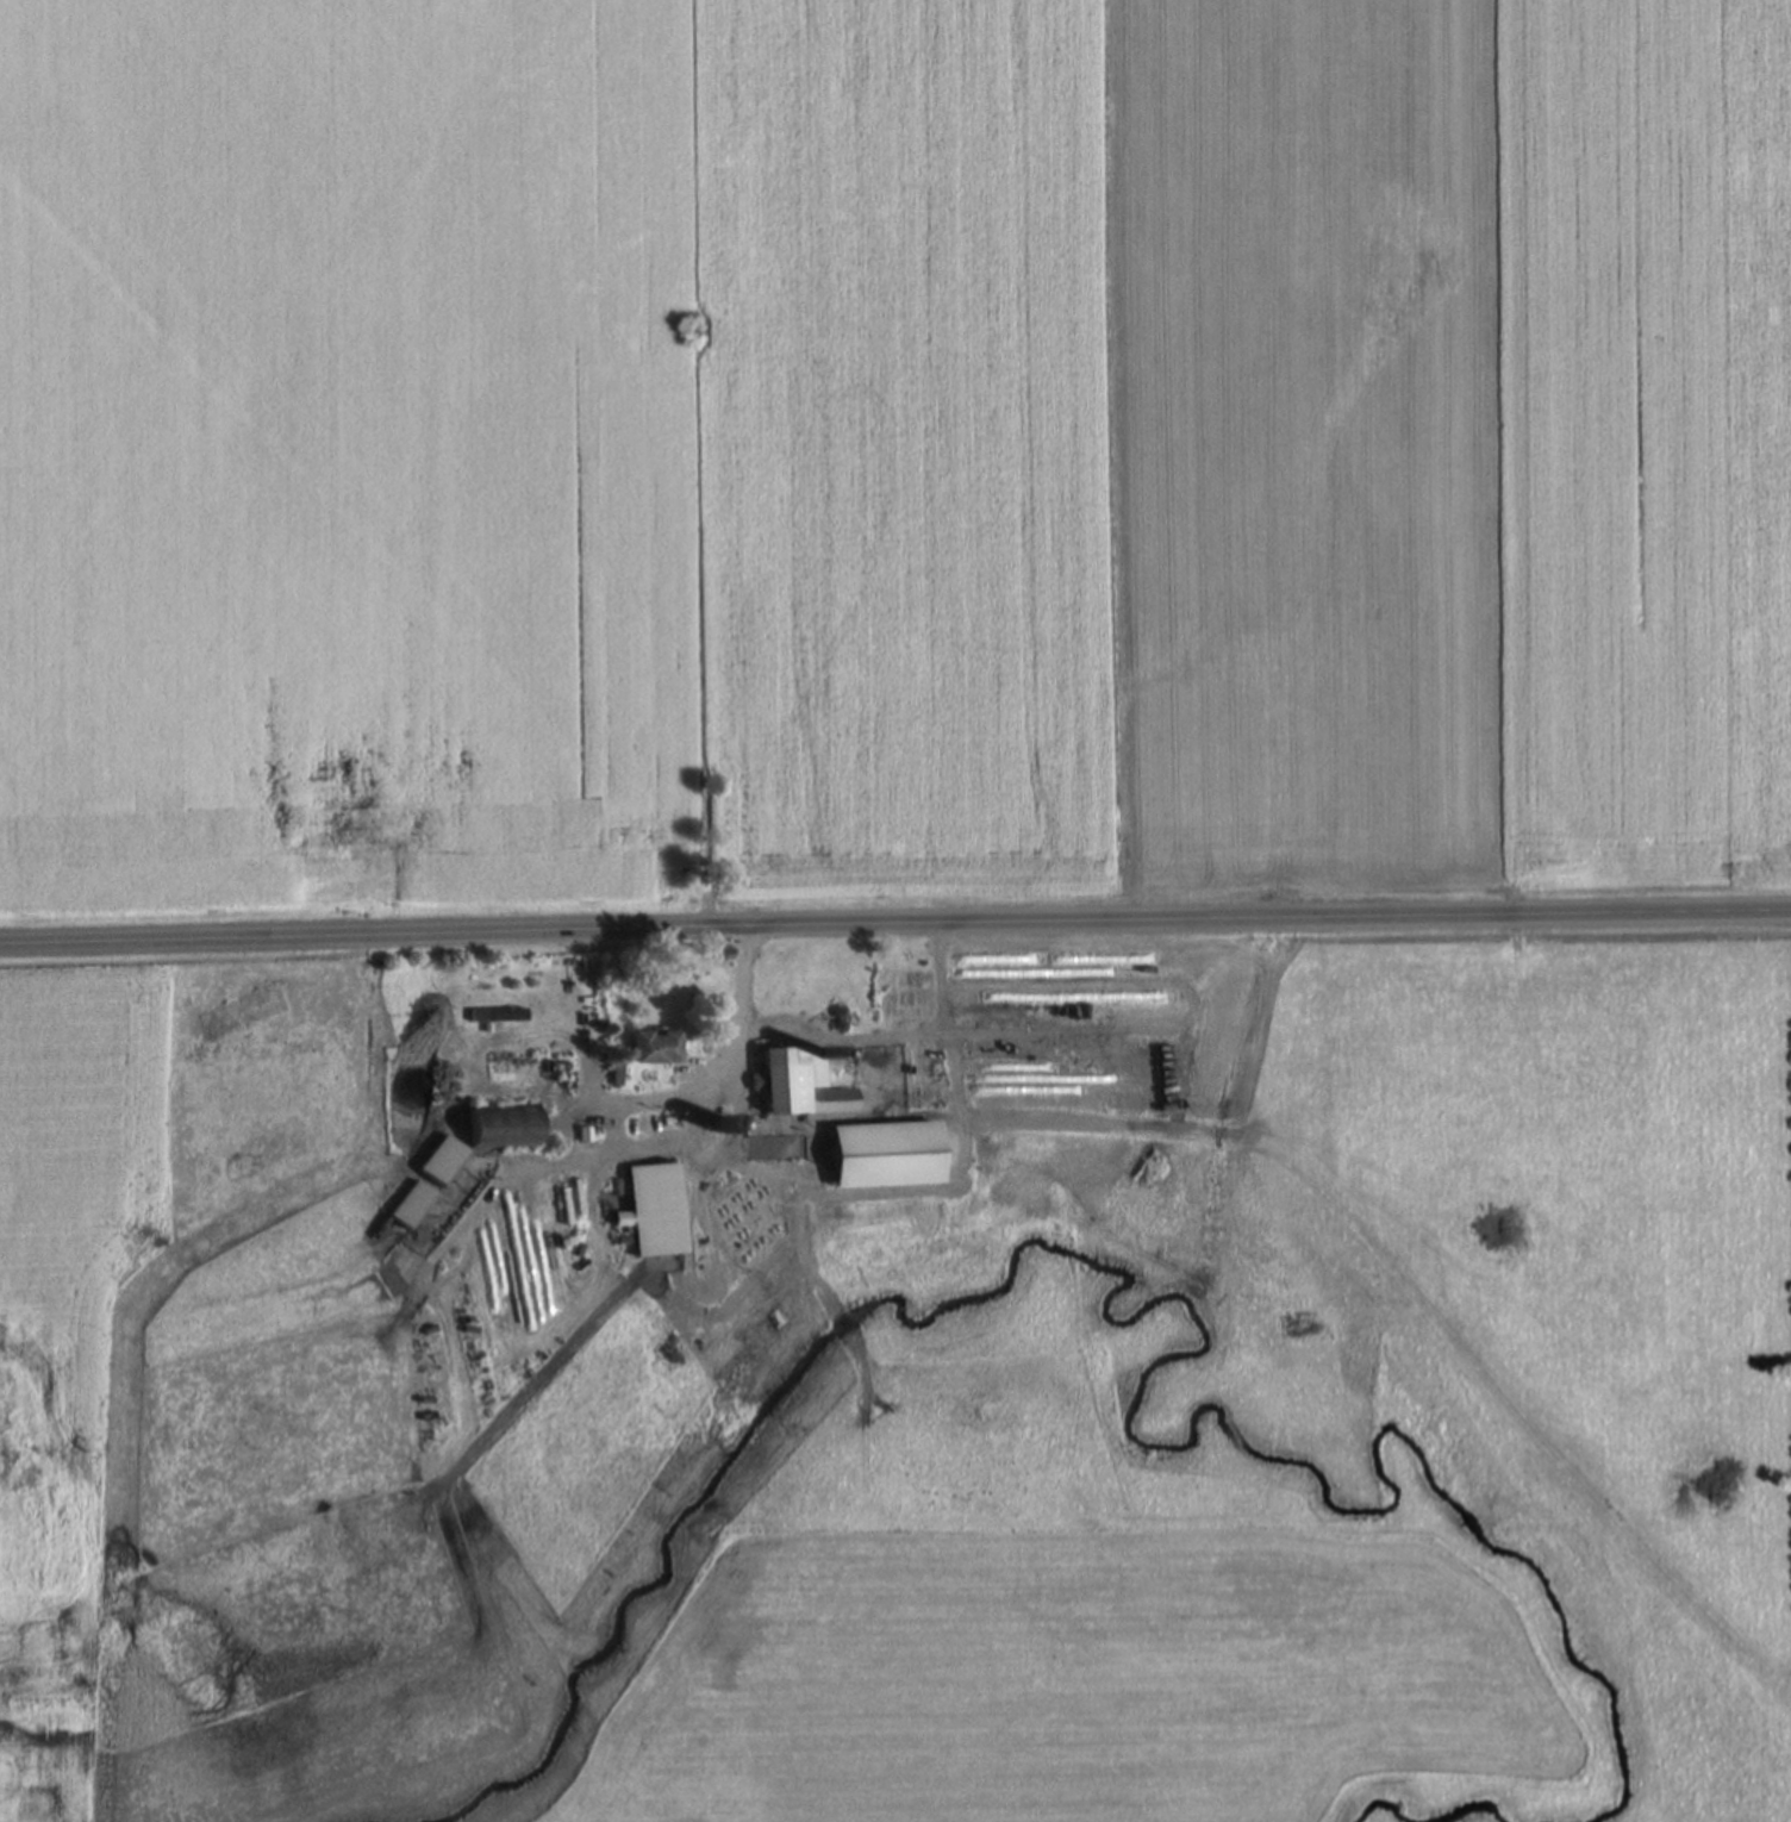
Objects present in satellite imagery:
road: (894, 925)
building: (498, 1015)
building: (654, 1048)
road: (554, 1055)
building: (798, 1082)
building: (504, 1125)
road: (648, 1146)
building: (441, 1159)
building: (410, 1204)
building: (653, 1209)

